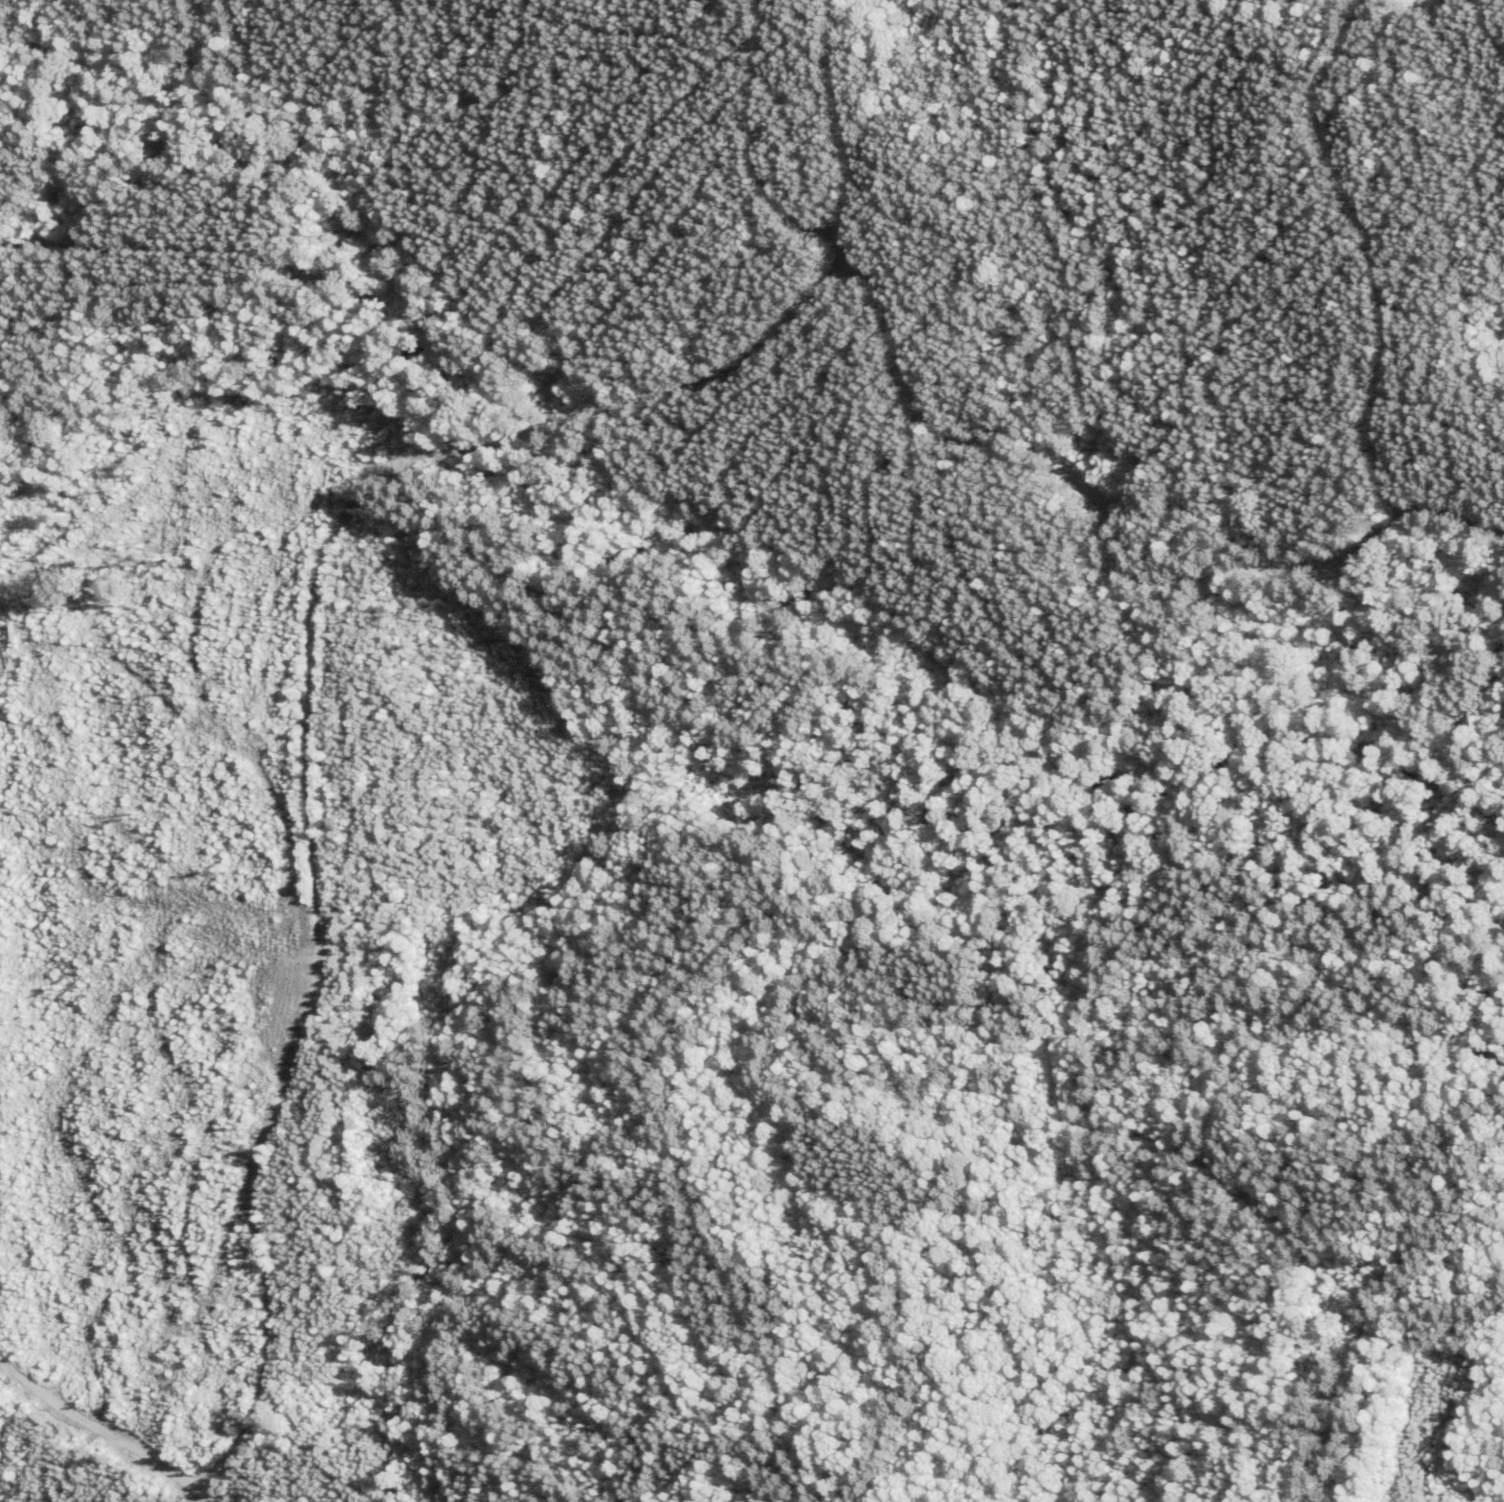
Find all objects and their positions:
road: (157, 1410)

